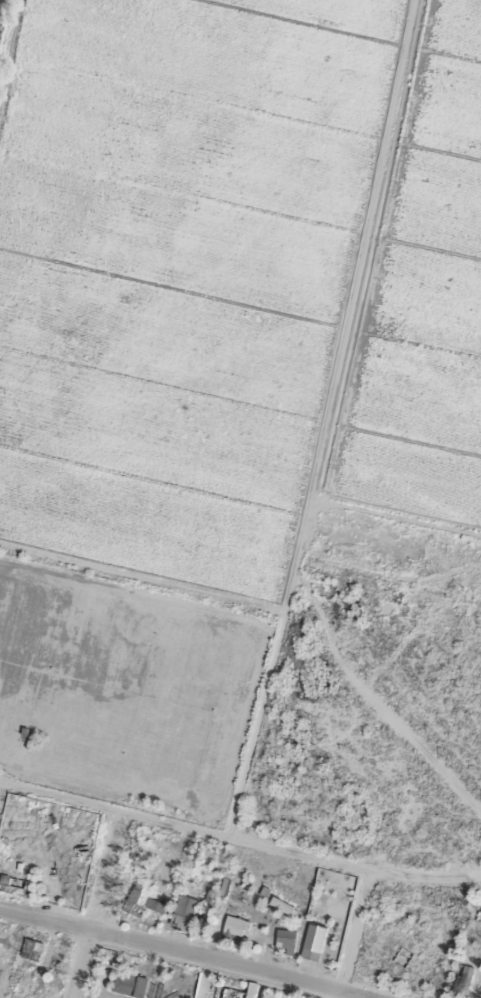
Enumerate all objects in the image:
road: (238, 849)
road: (85, 907)
road: (343, 937)
road: (163, 958)

